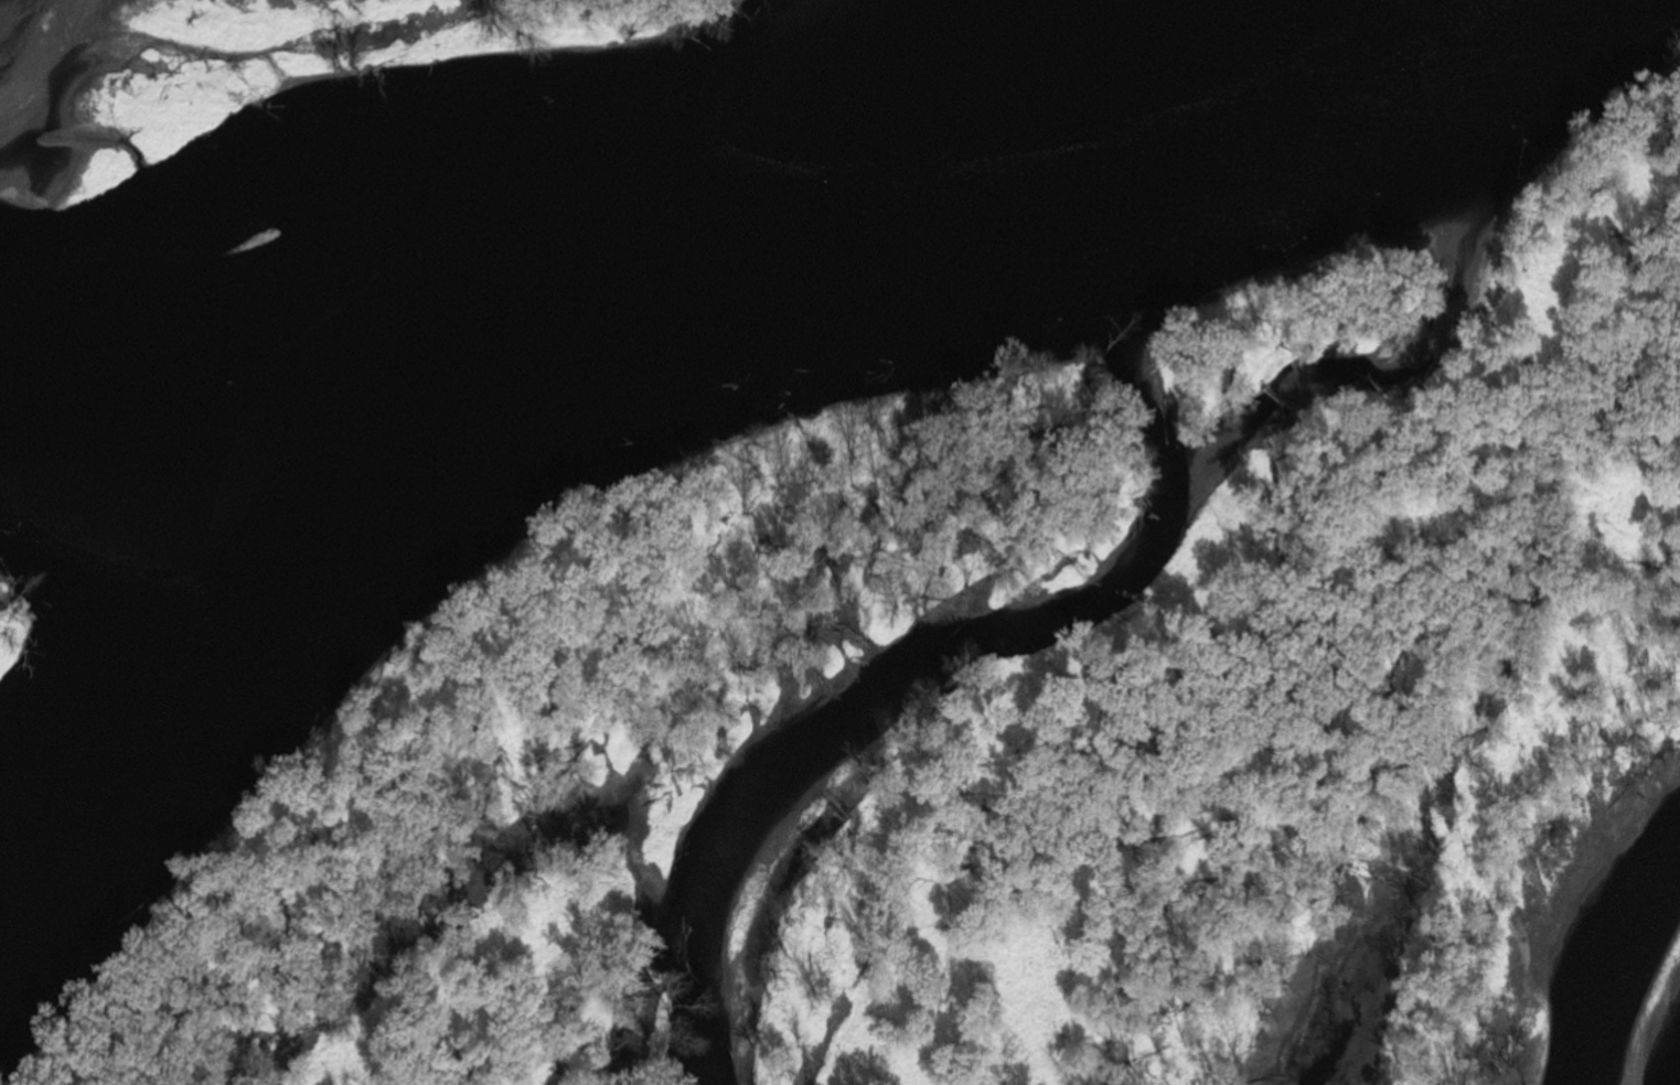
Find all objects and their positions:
river: (581, 406)

